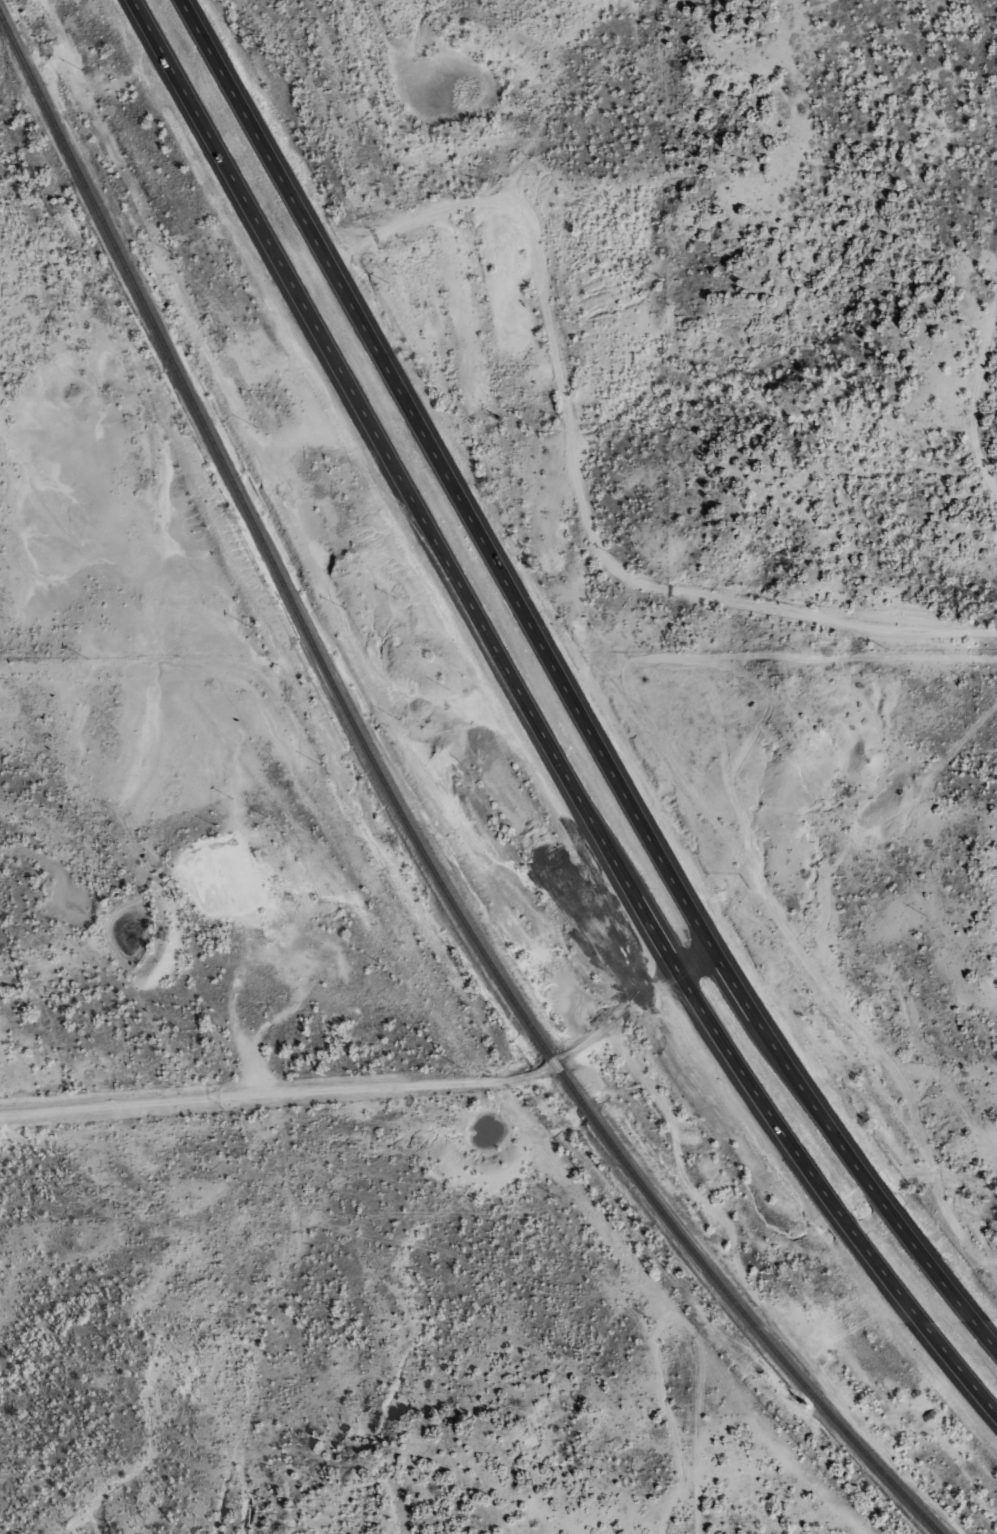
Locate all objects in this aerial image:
road: (582, 483)
road: (993, 512)
road: (567, 690)
road: (537, 723)
railway: (406, 815)
road: (375, 1097)

